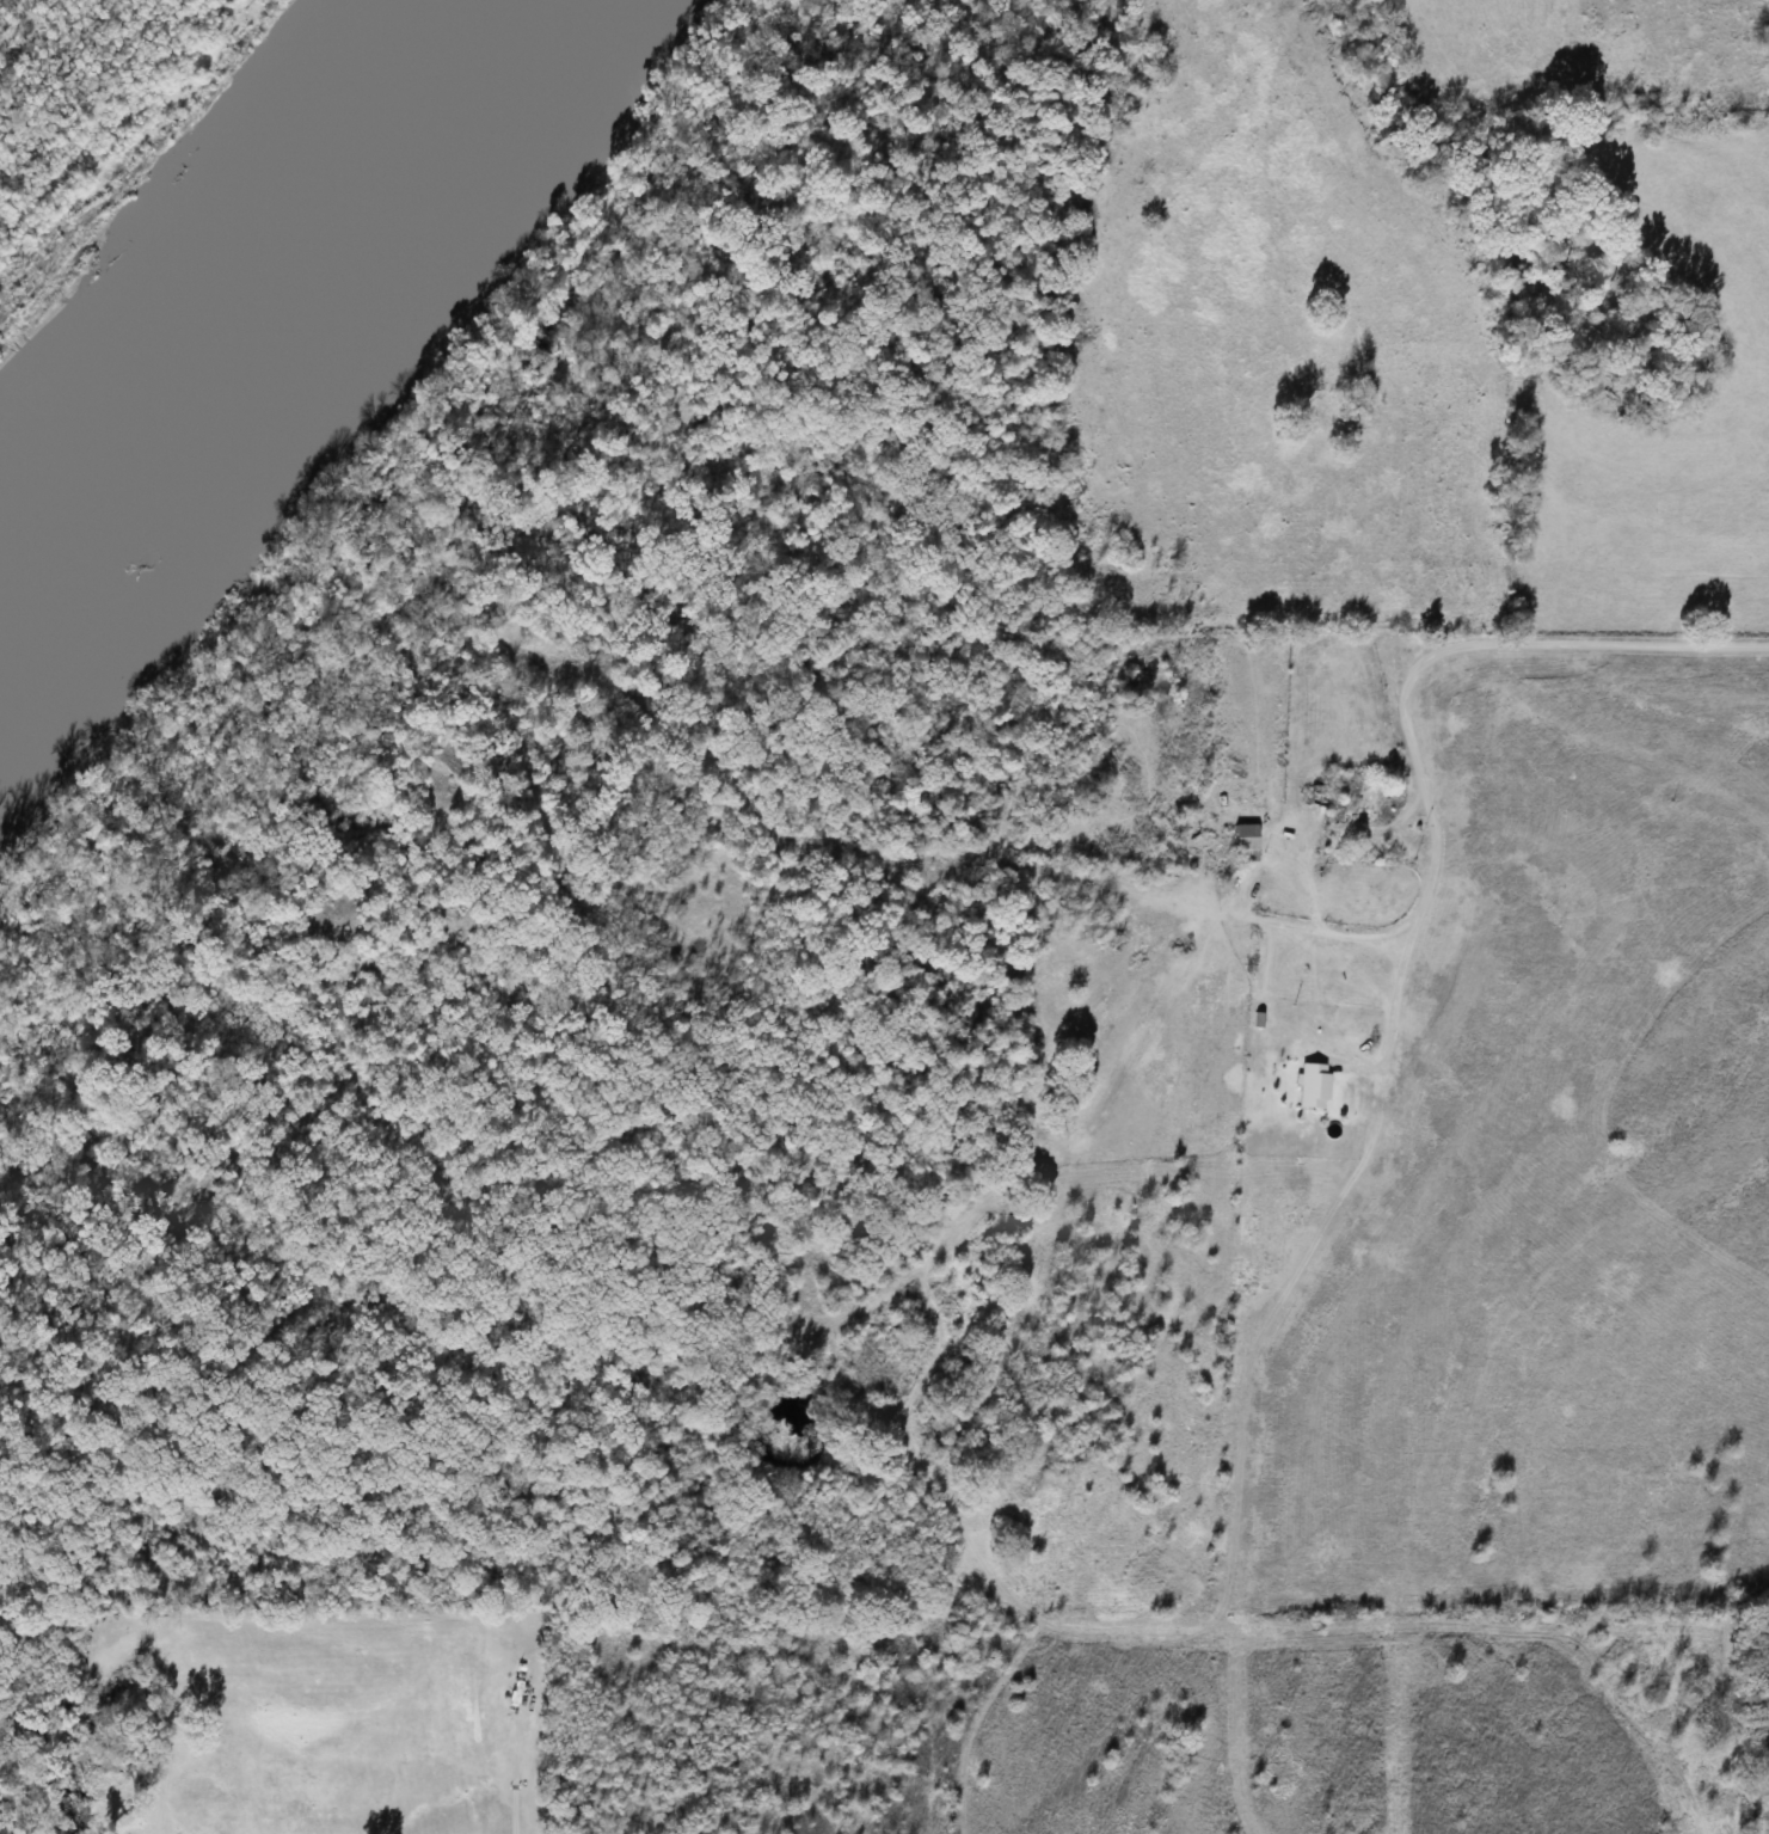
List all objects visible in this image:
river: (253, 289)
road: (1599, 649)
road: (1411, 724)
building: (1360, 811)
building: (1242, 839)
building: (499, 1700)

